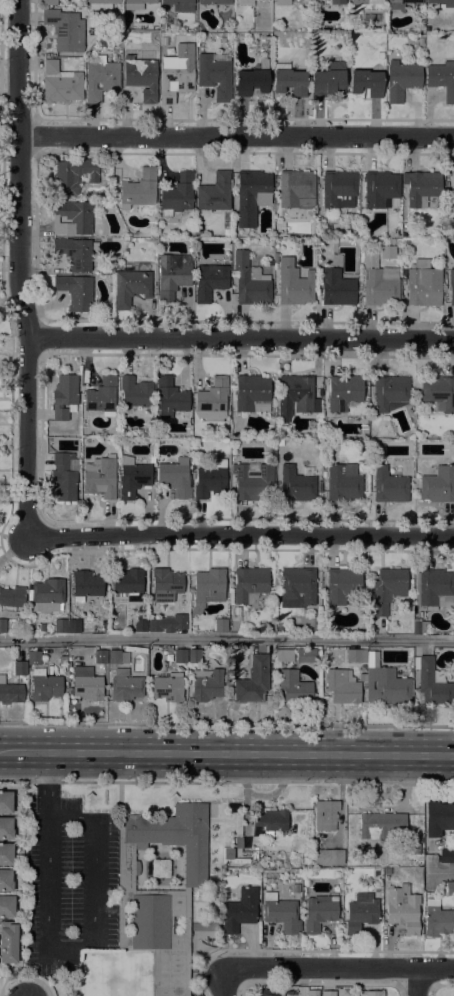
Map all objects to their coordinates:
building: (336, 1)
building: (49, 2)
building: (214, 2)
building: (244, 2)
building: (282, 2)
building: (367, 2)
building: (443, 2)
building: (101, 4)
building: (136, 4)
building: (399, 4)
building: (180, 5)
building: (352, 26)
building: (65, 30)
building: (381, 40)
building: (420, 40)
building: (380, 55)
building: (141, 74)
building: (214, 75)
building: (101, 76)
building: (329, 77)
building: (442, 78)
building: (175, 80)
building: (252, 80)
building: (289, 80)
building: (401, 80)
building: (366, 82)
building: (60, 83)
road: (238, 137)
building: (74, 174)
building: (380, 188)
building: (422, 188)
building: (296, 189)
building: (339, 189)
building: (451, 190)
building: (138, 191)
building: (215, 193)
building: (177, 195)
building: (251, 196)
building: (72, 218)
building: (389, 242)
building: (405, 242)
building: (387, 252)
building: (74, 253)
building: (275, 258)
building: (270, 263)
road: (20, 269)
building: (173, 274)
building: (210, 281)
building: (250, 281)
building: (379, 282)
building: (294, 284)
building: (423, 284)
building: (451, 286)
building: (131, 287)
building: (336, 287)
building: (76, 292)
road: (243, 338)
building: (134, 392)
building: (344, 392)
building: (439, 392)
building: (252, 393)
building: (390, 393)
building: (296, 396)
building: (64, 397)
building: (102, 397)
building: (170, 398)
building: (212, 399)
building: (280, 442)
building: (453, 442)
building: (152, 459)
building: (100, 477)
building: (175, 477)
building: (64, 478)
building: (133, 478)
building: (210, 479)
building: (252, 482)
building: (343, 483)
building: (296, 485)
building: (438, 485)
building: (320, 486)
building: (389, 486)
road: (241, 537)
building: (129, 583)
building: (249, 584)
building: (86, 585)
building: (166, 585)
building: (342, 585)
building: (297, 587)
building: (208, 588)
building: (434, 588)
building: (388, 589)
building: (48, 594)
building: (12, 598)
building: (168, 623)
building: (141, 625)
building: (221, 625)
building: (3, 626)
building: (60, 626)
building: (73, 626)
building: (420, 627)
building: (453, 631)
road: (227, 639)
building: (194, 655)
building: (308, 655)
building: (356, 655)
building: (180, 656)
building: (284, 656)
building: (34, 657)
building: (100, 657)
building: (117, 657)
building: (63, 660)
building: (20, 668)
building: (233, 672)
building: (362, 678)
building: (253, 681)
building: (432, 682)
building: (88, 683)
building: (385, 684)
building: (44, 685)
building: (206, 685)
building: (125, 686)
building: (168, 687)
building: (294, 687)
building: (342, 687)
building: (10, 692)
road: (227, 724)
road: (227, 753)
road: (226, 782)
road: (48, 784)
building: (5, 802)
building: (325, 815)
building: (437, 819)
building: (271, 820)
building: (379, 825)
building: (5, 828)
building: (238, 842)
building: (416, 849)
building: (6, 854)
building: (446, 856)
building: (232, 857)
building: (328, 857)
building: (257, 864)
building: (160, 868)
road: (442, 871)
building: (5, 881)
building: (295, 887)
building: (449, 888)
building: (303, 891)
building: (161, 892)
building: (7, 906)
building: (402, 908)
building: (239, 911)
building: (319, 912)
building: (361, 912)
building: (280, 913)
building: (437, 919)
road: (88, 941)
building: (8, 942)
road: (341, 968)
road: (418, 982)
road: (226, 983)
building: (270, 992)
building: (313, 993)
building: (327, 993)
building: (370, 993)

